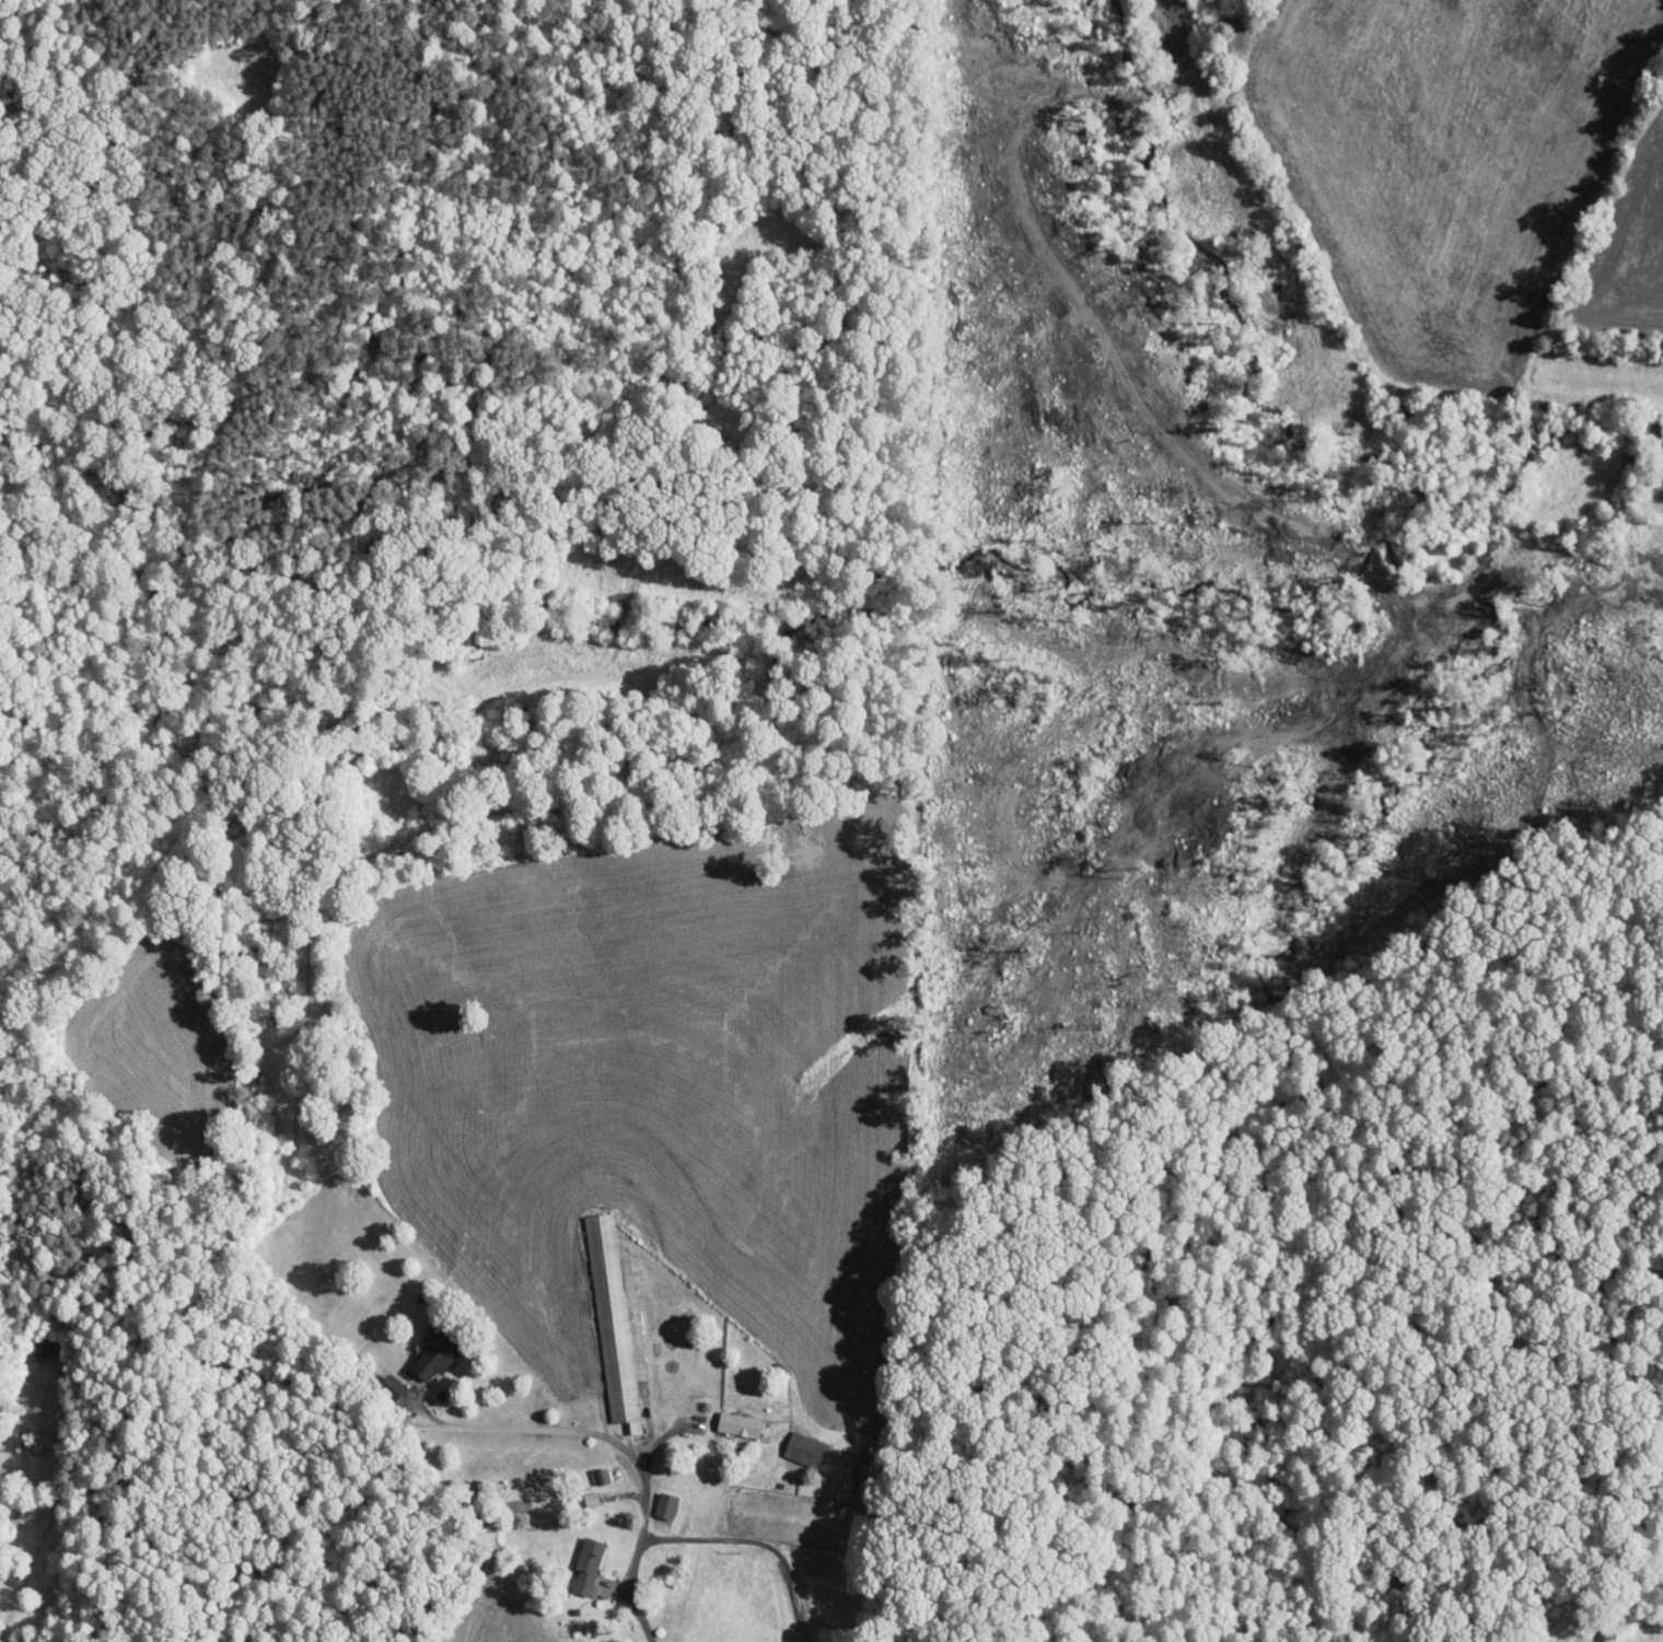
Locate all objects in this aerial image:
building: (613, 1320)
building: (40, 1347)
building: (428, 1359)
building: (741, 1424)
road: (575, 1430)
building: (806, 1449)
building: (601, 1476)
building: (869, 1476)
building: (667, 1504)
road: (702, 1539)
building: (589, 1565)

